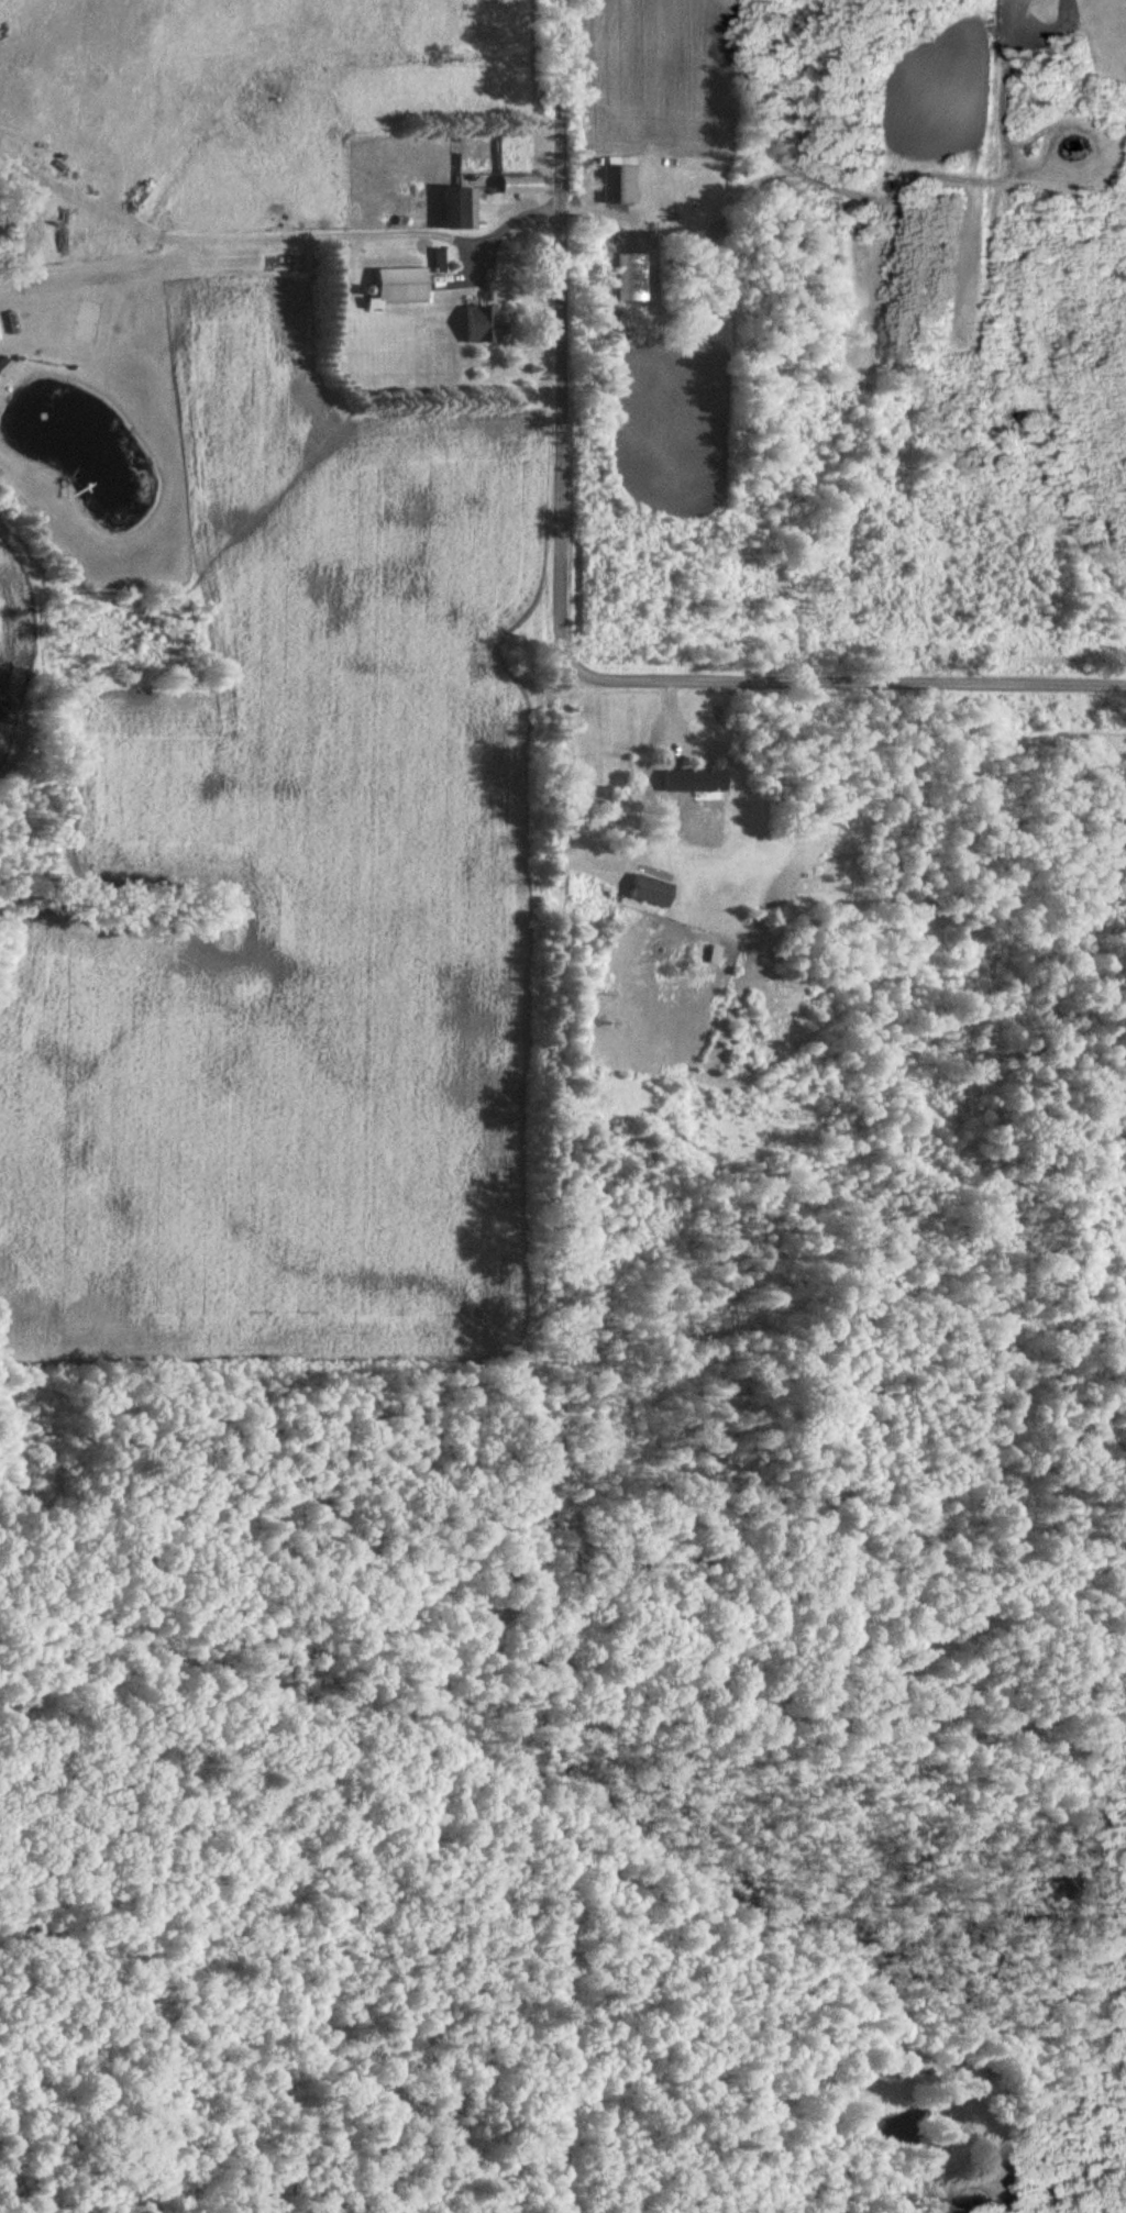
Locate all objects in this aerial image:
building: (522, 184)
building: (622, 184)
building: (461, 208)
road: (498, 225)
building: (400, 286)
building: (482, 324)
road: (553, 345)
building: (4, 365)
road: (855, 684)
building: (696, 778)
building: (652, 890)

